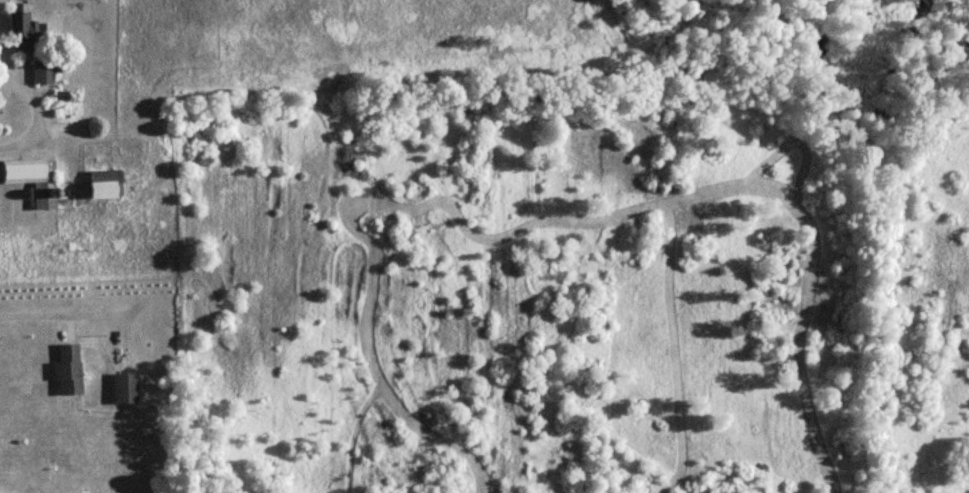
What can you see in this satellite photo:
building: (26, 45)
road: (34, 102)
building: (29, 178)
building: (98, 183)
road: (39, 305)
building: (63, 368)
building: (119, 388)

